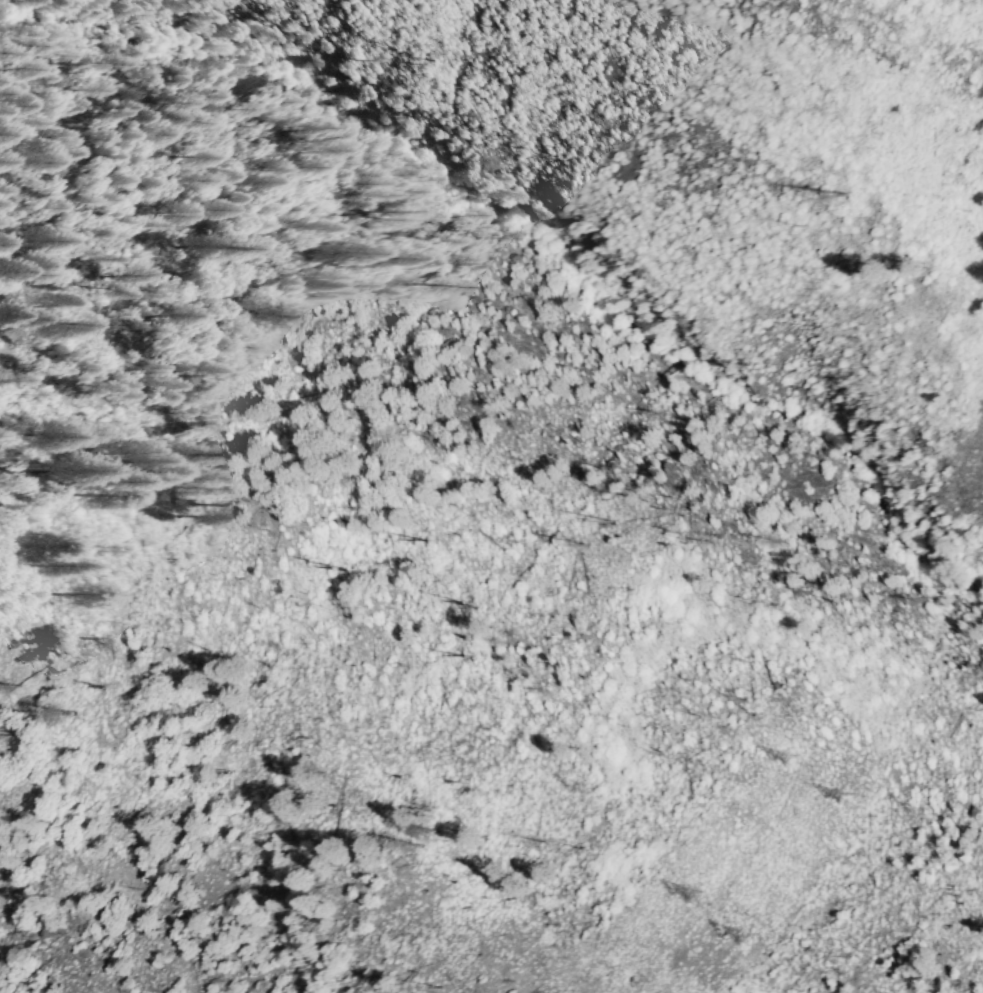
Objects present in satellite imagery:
power tower: (788, 757)
power tower: (842, 794)
power tower: (696, 895)
power tower: (746, 934)

